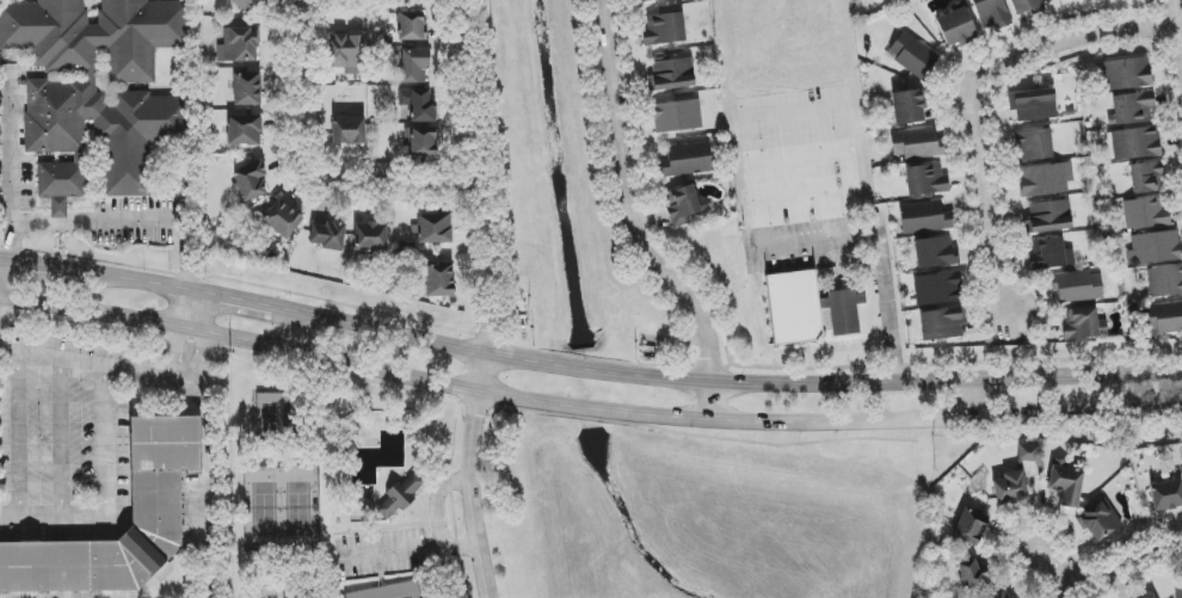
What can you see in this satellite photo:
building: (646, 0)
building: (247, 5)
building: (1028, 7)
road: (1180, 8)
road: (451, 14)
building: (992, 14)
road: (1178, 21)
building: (411, 27)
building: (956, 27)
building: (663, 29)
building: (238, 47)
building: (347, 54)
building: (913, 56)
building: (414, 67)
building: (672, 73)
building: (1127, 74)
building: (92, 90)
building: (247, 90)
road: (968, 92)
building: (418, 105)
building: (1034, 105)
building: (907, 107)
building: (1133, 107)
building: (676, 116)
building: (244, 130)
building: (349, 130)
building: (421, 142)
building: (915, 143)
building: (1135, 143)
building: (1034, 146)
road: (301, 149)
road: (11, 153)
building: (687, 160)
building: (1146, 178)
building: (1045, 179)
building: (926, 180)
building: (251, 181)
building: (684, 205)
building: (1146, 214)
building: (1049, 216)
building: (924, 217)
building: (282, 220)
road: (117, 222)
road: (629, 222)
building: (432, 229)
building: (328, 235)
building: (370, 236)
road: (879, 242)
building: (1153, 247)
building: (935, 253)
building: (1049, 254)
road: (30, 267)
building: (439, 280)
building: (1165, 282)
road: (125, 283)
building: (825, 284)
building: (1077, 286)
building: (937, 289)
road: (232, 302)
building: (793, 307)
road: (185, 312)
building: (845, 313)
road: (197, 314)
road: (485, 316)
building: (1164, 319)
building: (942, 323)
building: (1081, 323)
road: (177, 352)
road: (199, 360)
road: (724, 383)
road: (201, 393)
road: (972, 399)
road: (585, 408)
building: (1029, 454)
building: (1066, 483)
building: (1014, 488)
road: (109, 493)
building: (1166, 495)
building: (158, 506)
road: (441, 519)
building: (1100, 520)
building: (969, 528)
road: (1128, 571)
road: (1057, 574)
building: (973, 577)
building: (1178, 592)
building: (999, 594)
building: (1150, 596)

